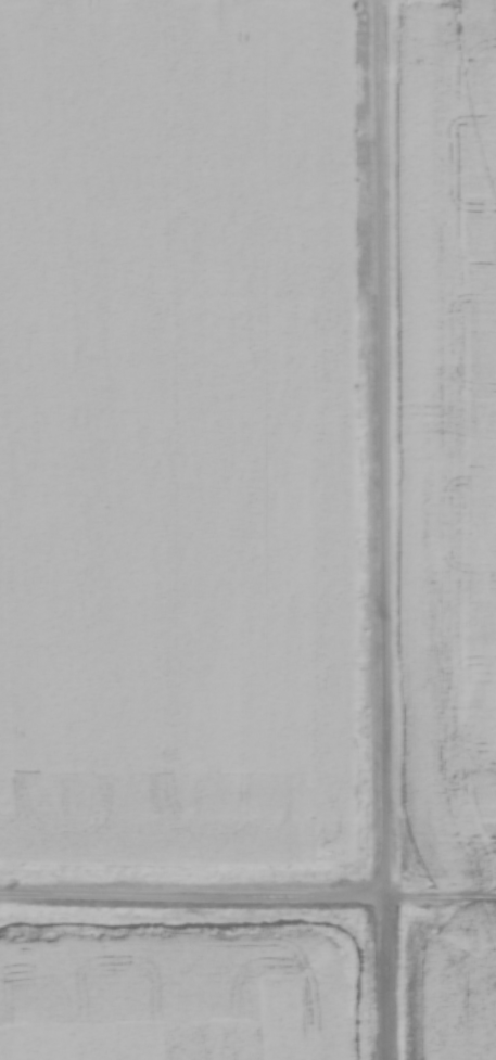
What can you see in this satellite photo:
road: (382, 529)
road: (192, 896)
road: (441, 901)

